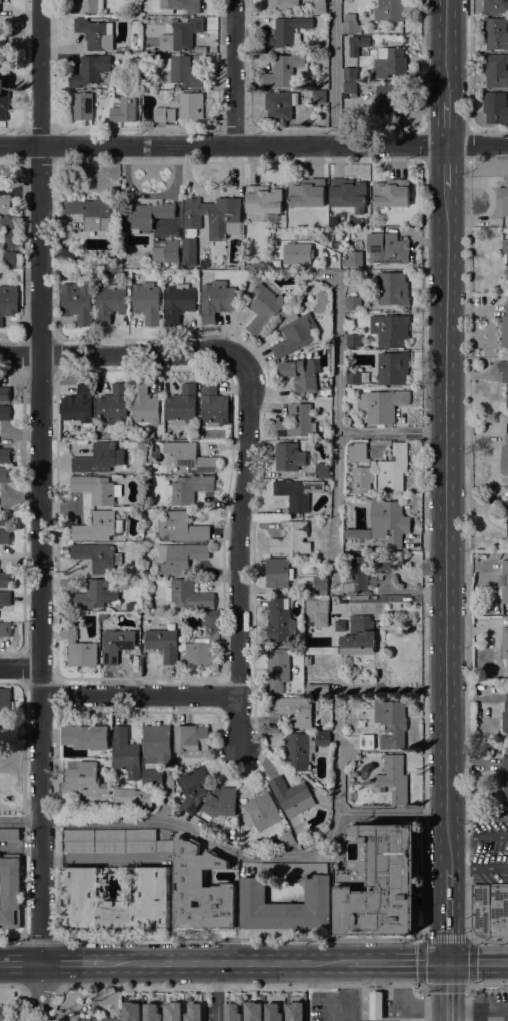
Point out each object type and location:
building: (0, 1)
building: (147, 1)
building: (347, 1)
building: (283, 4)
building: (91, 6)
building: (179, 6)
building: (495, 6)
building: (319, 7)
building: (389, 10)
building: (351, 24)
building: (134, 26)
building: (285, 33)
building: (495, 33)
building: (180, 34)
building: (94, 35)
building: (2, 43)
building: (357, 44)
building: (390, 62)
road: (469, 63)
road: (421, 64)
building: (89, 70)
building: (495, 70)
road: (233, 71)
building: (284, 71)
road: (333, 72)
building: (177, 73)
building: (350, 73)
building: (4, 80)
building: (146, 86)
building: (154, 86)
building: (350, 88)
building: (319, 96)
building: (390, 99)
building: (4, 105)
building: (191, 105)
building: (280, 105)
building: (82, 106)
building: (495, 107)
building: (115, 114)
building: (164, 114)
road: (377, 127)
road: (488, 127)
road: (254, 144)
road: (422, 144)
building: (307, 192)
building: (391, 193)
building: (348, 194)
building: (504, 198)
building: (264, 201)
building: (5, 205)
building: (93, 212)
building: (146, 216)
building: (210, 220)
building: (333, 221)
building: (386, 248)
building: (166, 252)
building: (296, 253)
building: (505, 257)
building: (355, 258)
building: (11, 259)
building: (325, 286)
building: (393, 289)
building: (215, 298)
building: (8, 301)
building: (77, 301)
building: (110, 302)
building: (147, 302)
building: (177, 302)
building: (353, 303)
building: (264, 308)
building: (504, 327)
building: (390, 330)
building: (294, 333)
building: (322, 336)
building: (353, 340)
road: (124, 353)
building: (393, 368)
building: (301, 374)
building: (504, 376)
building: (353, 377)
building: (5, 394)
building: (78, 405)
building: (181, 405)
building: (382, 405)
building: (113, 406)
building: (144, 406)
building: (213, 406)
building: (5, 413)
building: (297, 421)
road: (391, 431)
road: (337, 434)
road: (444, 452)
building: (356, 453)
building: (5, 456)
building: (505, 456)
building: (188, 457)
building: (289, 457)
building: (100, 458)
building: (322, 470)
building: (392, 470)
building: (5, 474)
building: (362, 479)
building: (188, 488)
building: (96, 489)
building: (296, 492)
road: (40, 510)
building: (5, 518)
building: (384, 523)
building: (507, 525)
building: (97, 527)
building: (181, 527)
building: (4, 537)
building: (291, 538)
road: (241, 550)
building: (96, 556)
building: (179, 557)
building: (384, 563)
building: (277, 572)
building: (357, 576)
building: (4, 580)
building: (320, 583)
building: (505, 586)
building: (93, 594)
building: (187, 595)
building: (5, 599)
road: (388, 599)
building: (130, 607)
building: (317, 612)
building: (103, 615)
building: (280, 620)
building: (5, 629)
building: (358, 636)
building: (202, 643)
building: (116, 644)
building: (163, 644)
building: (505, 645)
building: (78, 648)
building: (321, 650)
building: (307, 660)
road: (20, 665)
building: (279, 671)
road: (376, 675)
building: (317, 688)
road: (140, 695)
building: (360, 703)
building: (5, 704)
building: (292, 710)
building: (505, 722)
building: (391, 723)
road: (422, 732)
building: (88, 739)
building: (322, 739)
building: (191, 740)
building: (156, 744)
building: (366, 744)
building: (299, 750)
building: (125, 753)
building: (505, 775)
building: (152, 777)
building: (394, 777)
building: (82, 779)
building: (194, 788)
building: (291, 796)
building: (132, 798)
building: (218, 804)
building: (260, 812)
road: (343, 813)
road: (477, 814)
road: (182, 826)
building: (9, 834)
road: (477, 837)
building: (287, 839)
building: (112, 841)
road: (100, 856)
road: (477, 868)
building: (378, 881)
building: (151, 886)
building: (200, 890)
building: (317, 890)
building: (9, 892)
building: (489, 910)
road: (448, 933)
road: (12, 936)
road: (40, 937)
road: (422, 940)
road: (488, 940)
road: (222, 961)
road: (395, 961)
traffic signals: (447, 961)
road: (477, 961)
road: (20, 962)
road: (70, 962)
road: (488, 984)
road: (10, 985)
road: (39, 985)
road: (257, 985)
road: (345, 990)
road: (215, 991)
road: (400, 991)
road: (447, 991)
road: (468, 1002)
building: (376, 1005)
road: (424, 1010)
building: (130, 1011)
building: (171, 1011)
building: (251, 1011)
building: (293, 1011)
building: (150, 1012)
building: (192, 1012)
building: (230, 1012)
building: (271, 1012)
building: (2, 1014)
building: (99, 1019)

